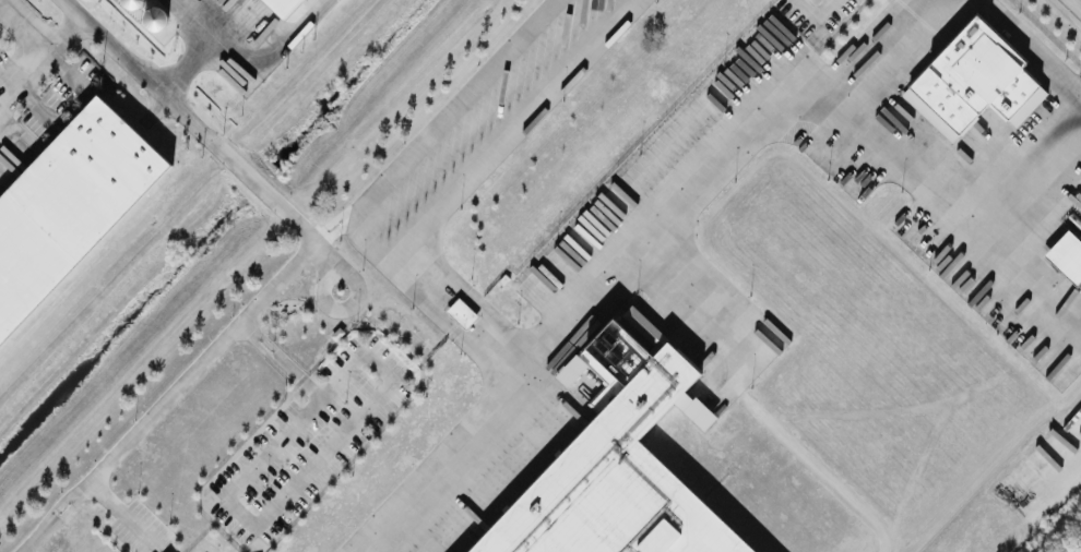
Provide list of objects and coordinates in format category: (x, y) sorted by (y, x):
road: (1078, 2)
building: (284, 5)
road: (813, 12)
road: (23, 31)
road: (248, 52)
road: (905, 53)
road: (40, 58)
road: (1052, 60)
road: (186, 63)
road: (135, 69)
road: (67, 72)
building: (974, 81)
road: (36, 105)
road: (453, 108)
road: (224, 151)
road: (732, 155)
road: (1024, 155)
road: (266, 192)
building: (68, 204)
road: (356, 221)
road: (319, 252)
building: (1067, 255)
road: (1024, 273)
road: (415, 276)
building: (462, 311)
road: (271, 355)
road: (336, 383)
road: (307, 394)
road: (174, 400)
road: (273, 448)
building: (618, 460)
road: (322, 464)
road: (120, 513)

